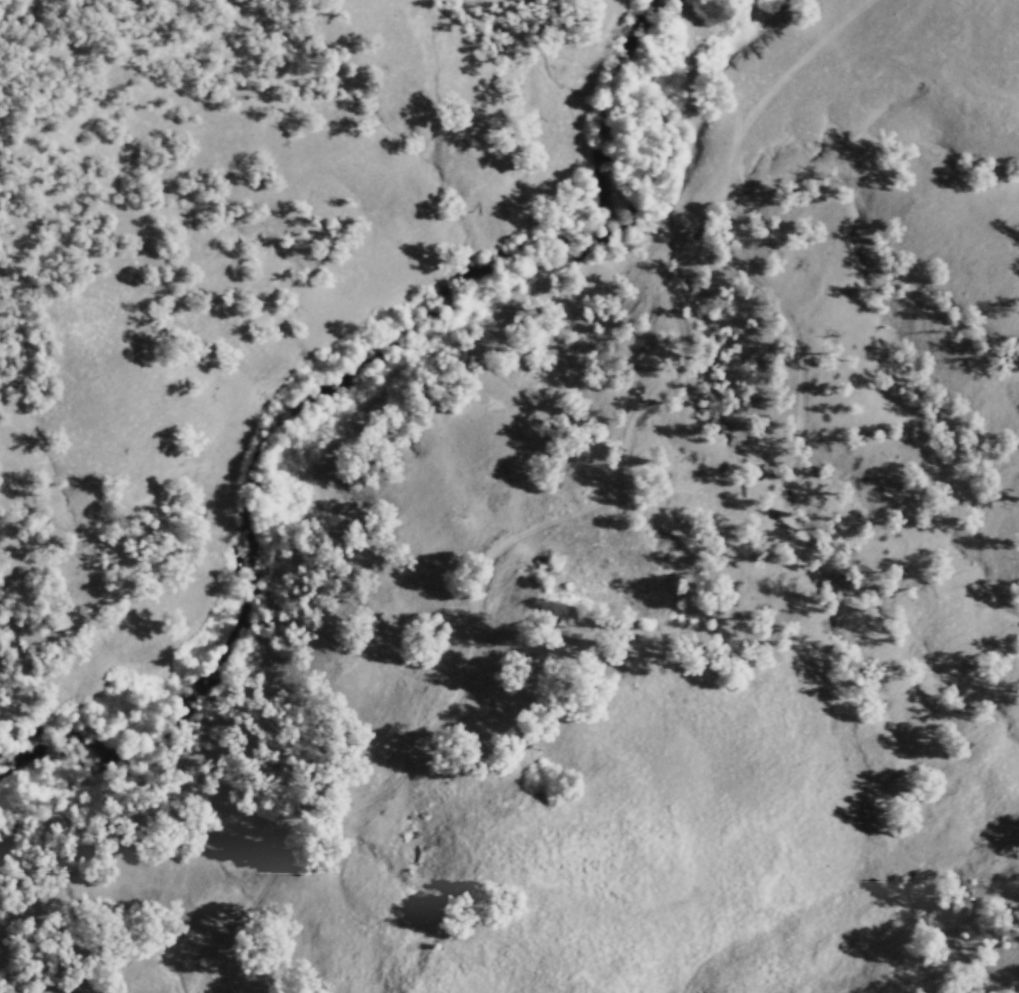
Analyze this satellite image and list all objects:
road: (567, 515)

